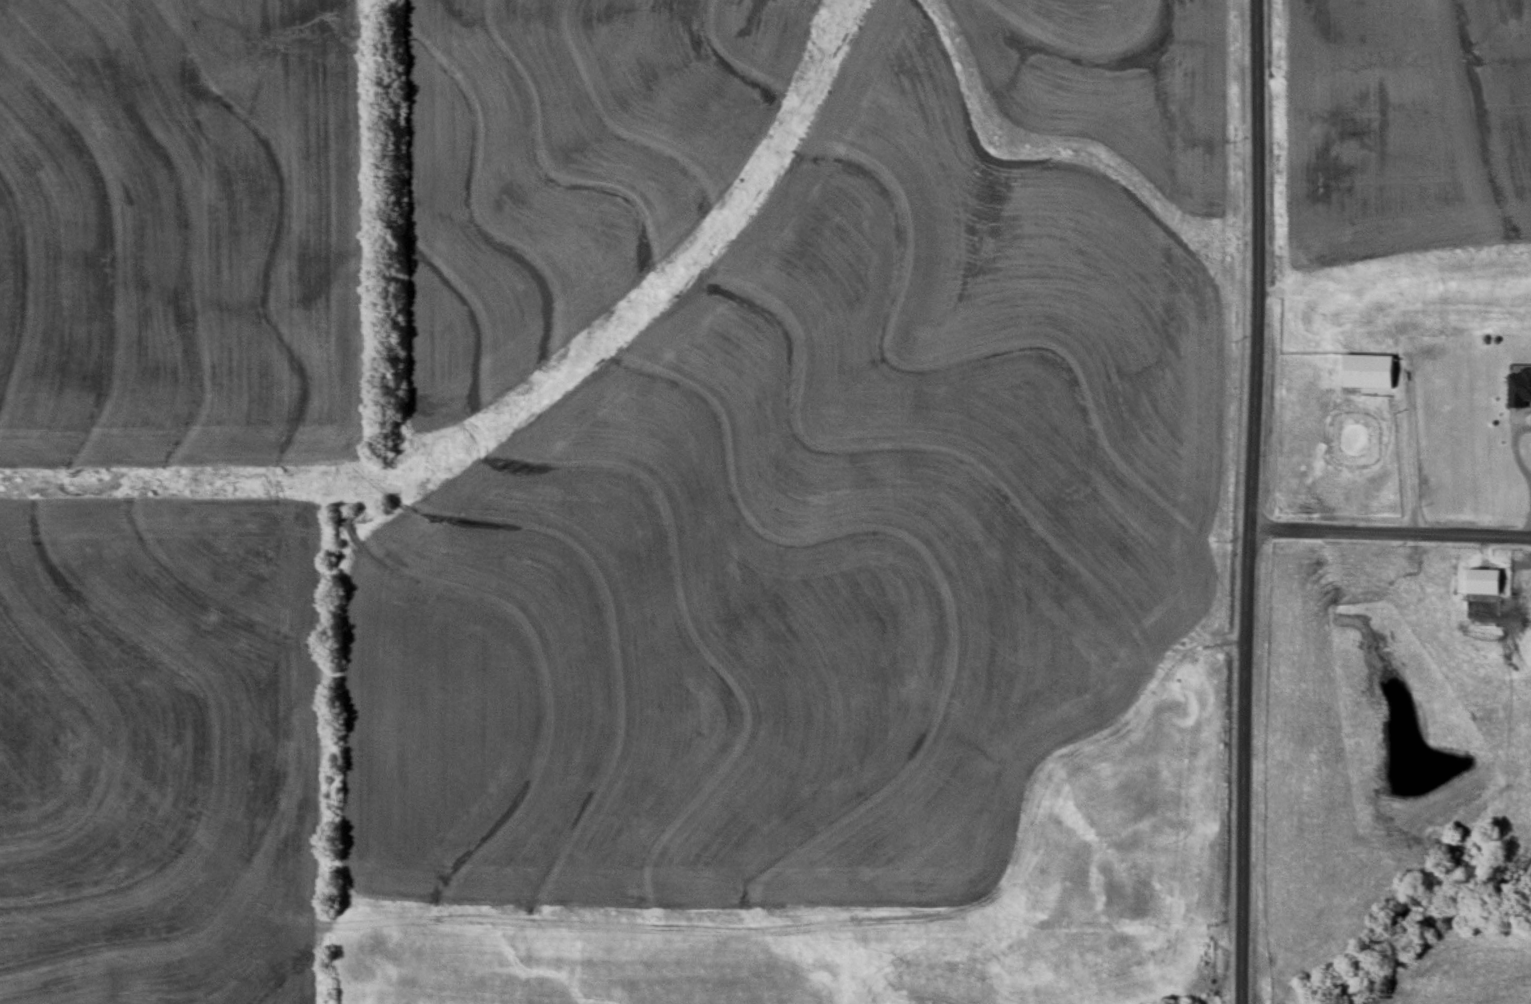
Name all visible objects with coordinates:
road: (1258, 264)
building: (1368, 371)
building: (1520, 387)
road: (1516, 450)
road: (1411, 453)
road: (1529, 524)
road: (1390, 533)
building: (1483, 581)
road: (1243, 765)

